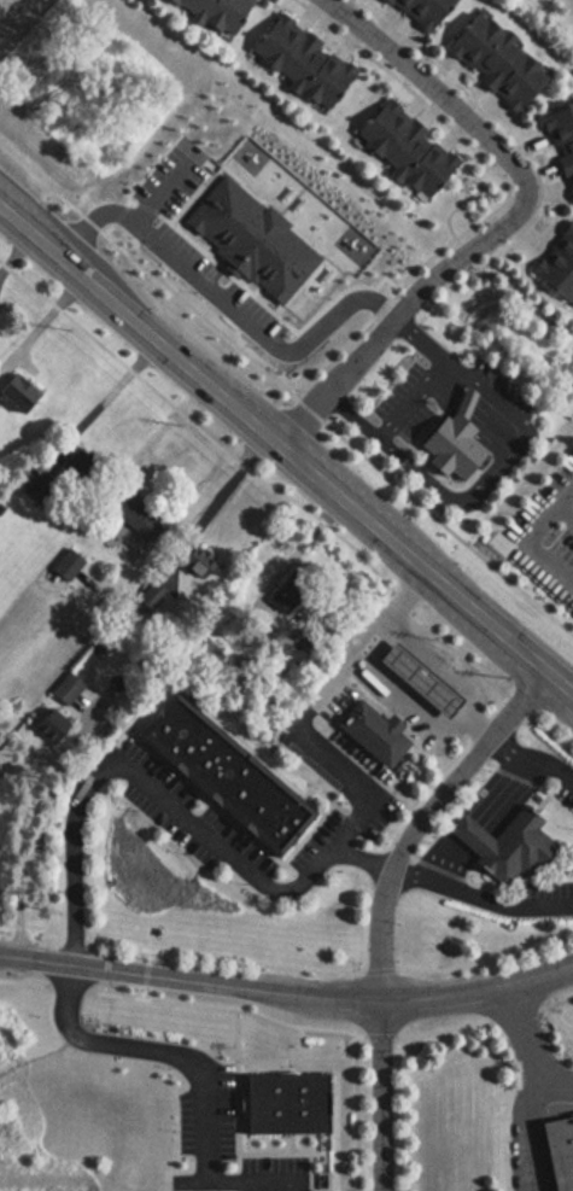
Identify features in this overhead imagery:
building: (416, 11)
building: (211, 12)
building: (296, 60)
building: (491, 62)
road: (496, 124)
building: (560, 142)
building: (400, 150)
road: (461, 202)
road: (505, 222)
road: (464, 253)
building: (555, 265)
road: (524, 297)
road: (46, 319)
road: (364, 326)
road: (419, 340)
parking lot: (504, 387)
road: (112, 396)
building: (17, 397)
road: (413, 402)
building: (466, 402)
parking lot: (402, 404)
road: (306, 411)
building: (454, 445)
road: (288, 446)
road: (268, 486)
road: (217, 488)
road: (472, 502)
road: (566, 513)
road: (448, 532)
road: (530, 539)
road: (299, 544)
building: (195, 564)
road: (408, 595)
road: (435, 667)
building: (437, 672)
building: (411, 679)
road: (394, 689)
parking lot: (386, 700)
road: (480, 730)
building: (374, 734)
road: (549, 738)
road: (309, 743)
road: (530, 764)
building: (224, 775)
parking lot: (207, 821)
road: (419, 821)
road: (59, 823)
road: (478, 823)
building: (472, 836)
building: (519, 847)
road: (72, 857)
road: (233, 859)
road: (361, 859)
road: (17, 860)
road: (480, 898)
road: (29, 927)
road: (72, 939)
road: (487, 964)
road: (304, 970)
road: (379, 970)
road: (24, 983)
road: (65, 988)
road: (287, 997)
road: (554, 1003)
road: (223, 1010)
road: (511, 1015)
road: (559, 1022)
road: (440, 1031)
road: (378, 1037)
road: (105, 1043)
road: (525, 1045)
parking lot: (531, 1051)
road: (263, 1061)
road: (376, 1094)
building: (283, 1100)
road: (352, 1114)
parking lot: (205, 1115)
road: (234, 1122)
road: (527, 1129)
road: (288, 1142)
building: (559, 1150)
parking lot: (270, 1174)
road: (201, 1179)

